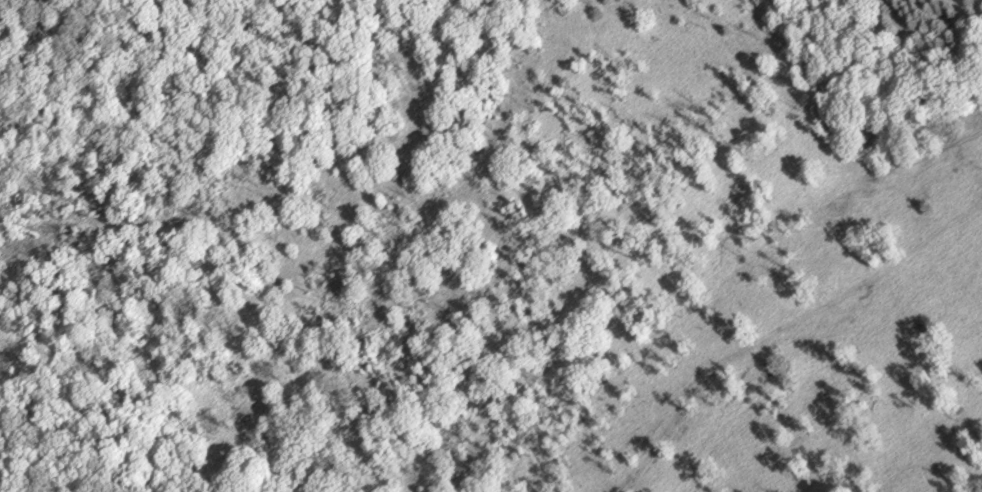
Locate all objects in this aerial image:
road: (784, 329)

